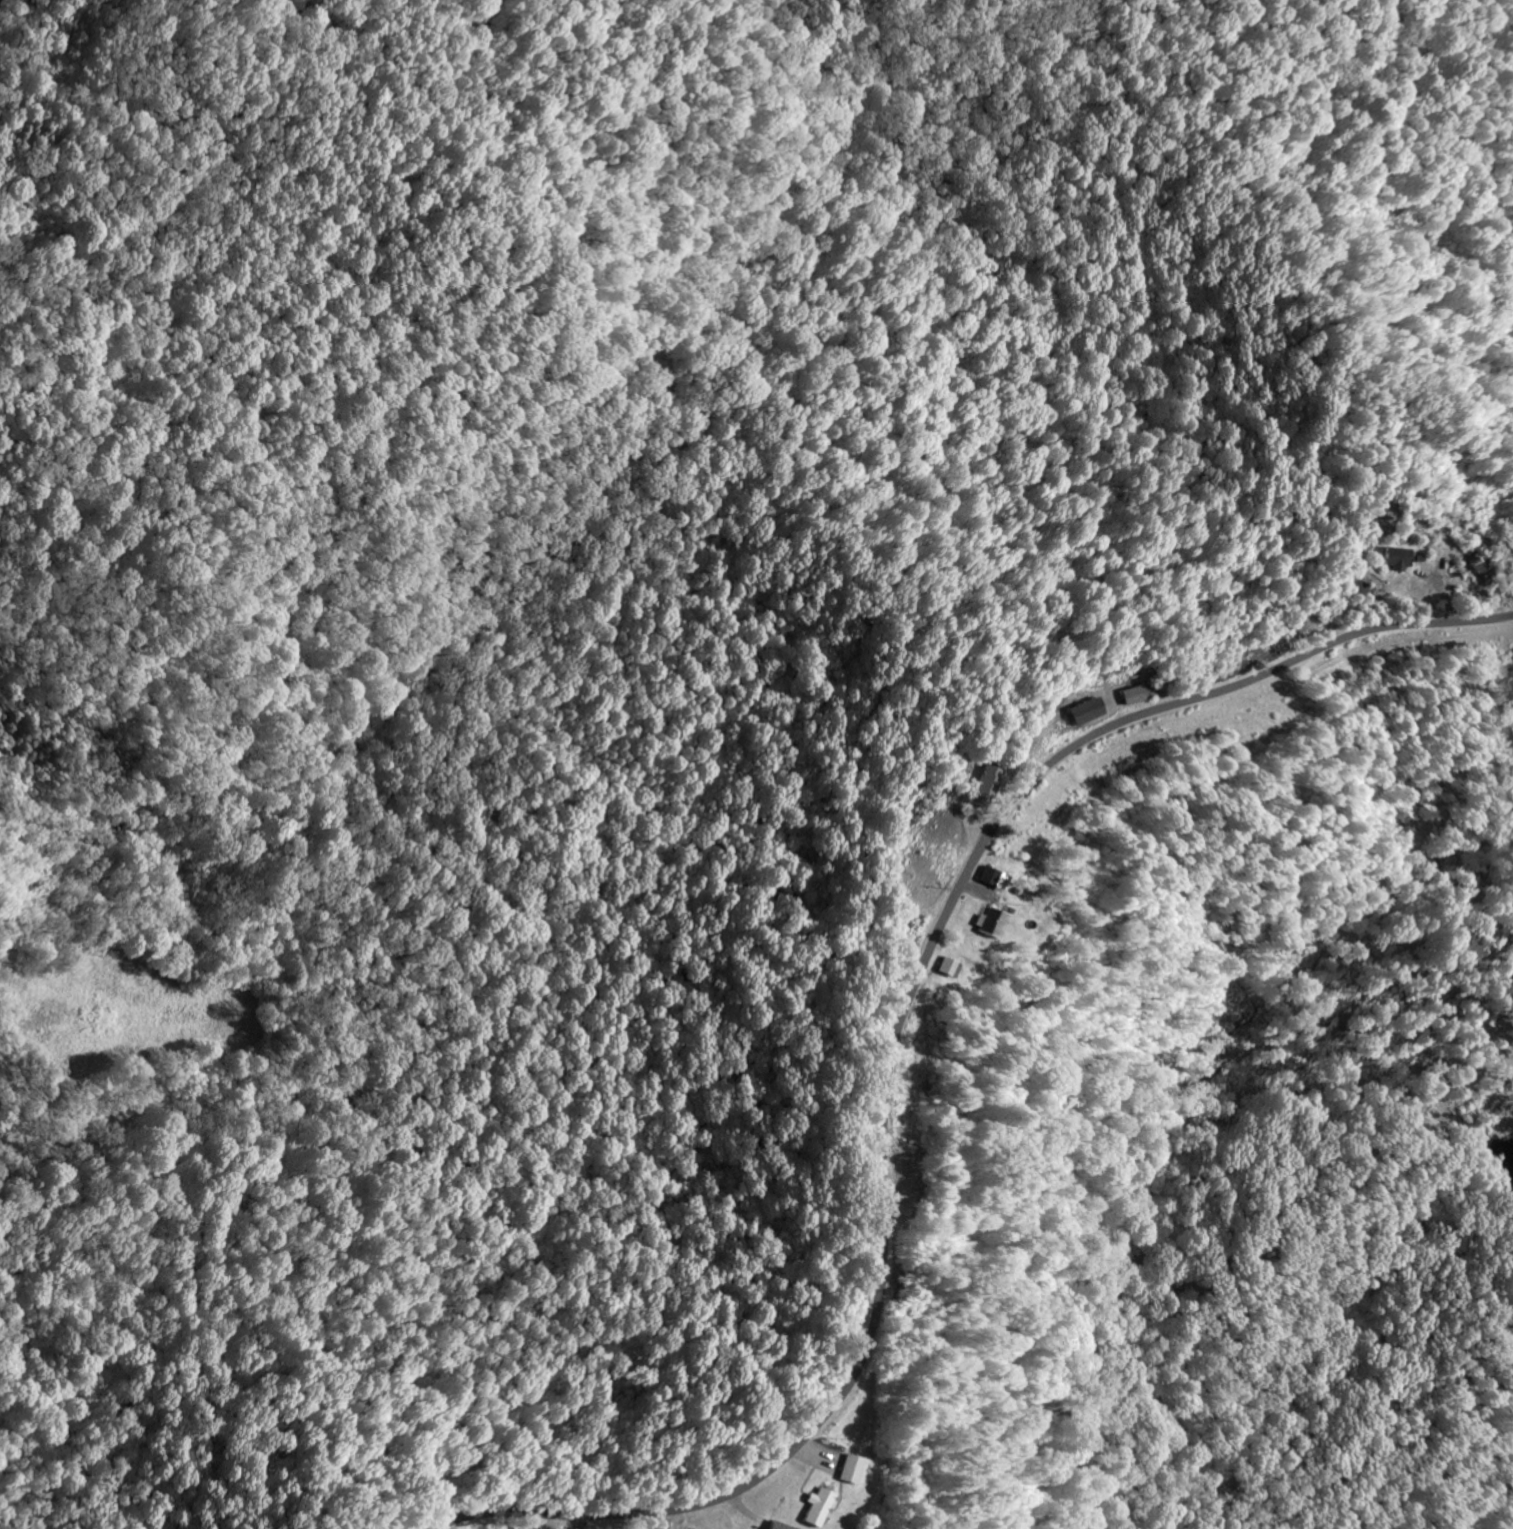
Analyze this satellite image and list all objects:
building: (1390, 559)
building: (1133, 694)
building: (1080, 712)
building: (981, 785)
building: (987, 879)
building: (984, 923)
road: (896, 1036)
building: (845, 1469)
building: (814, 1507)

